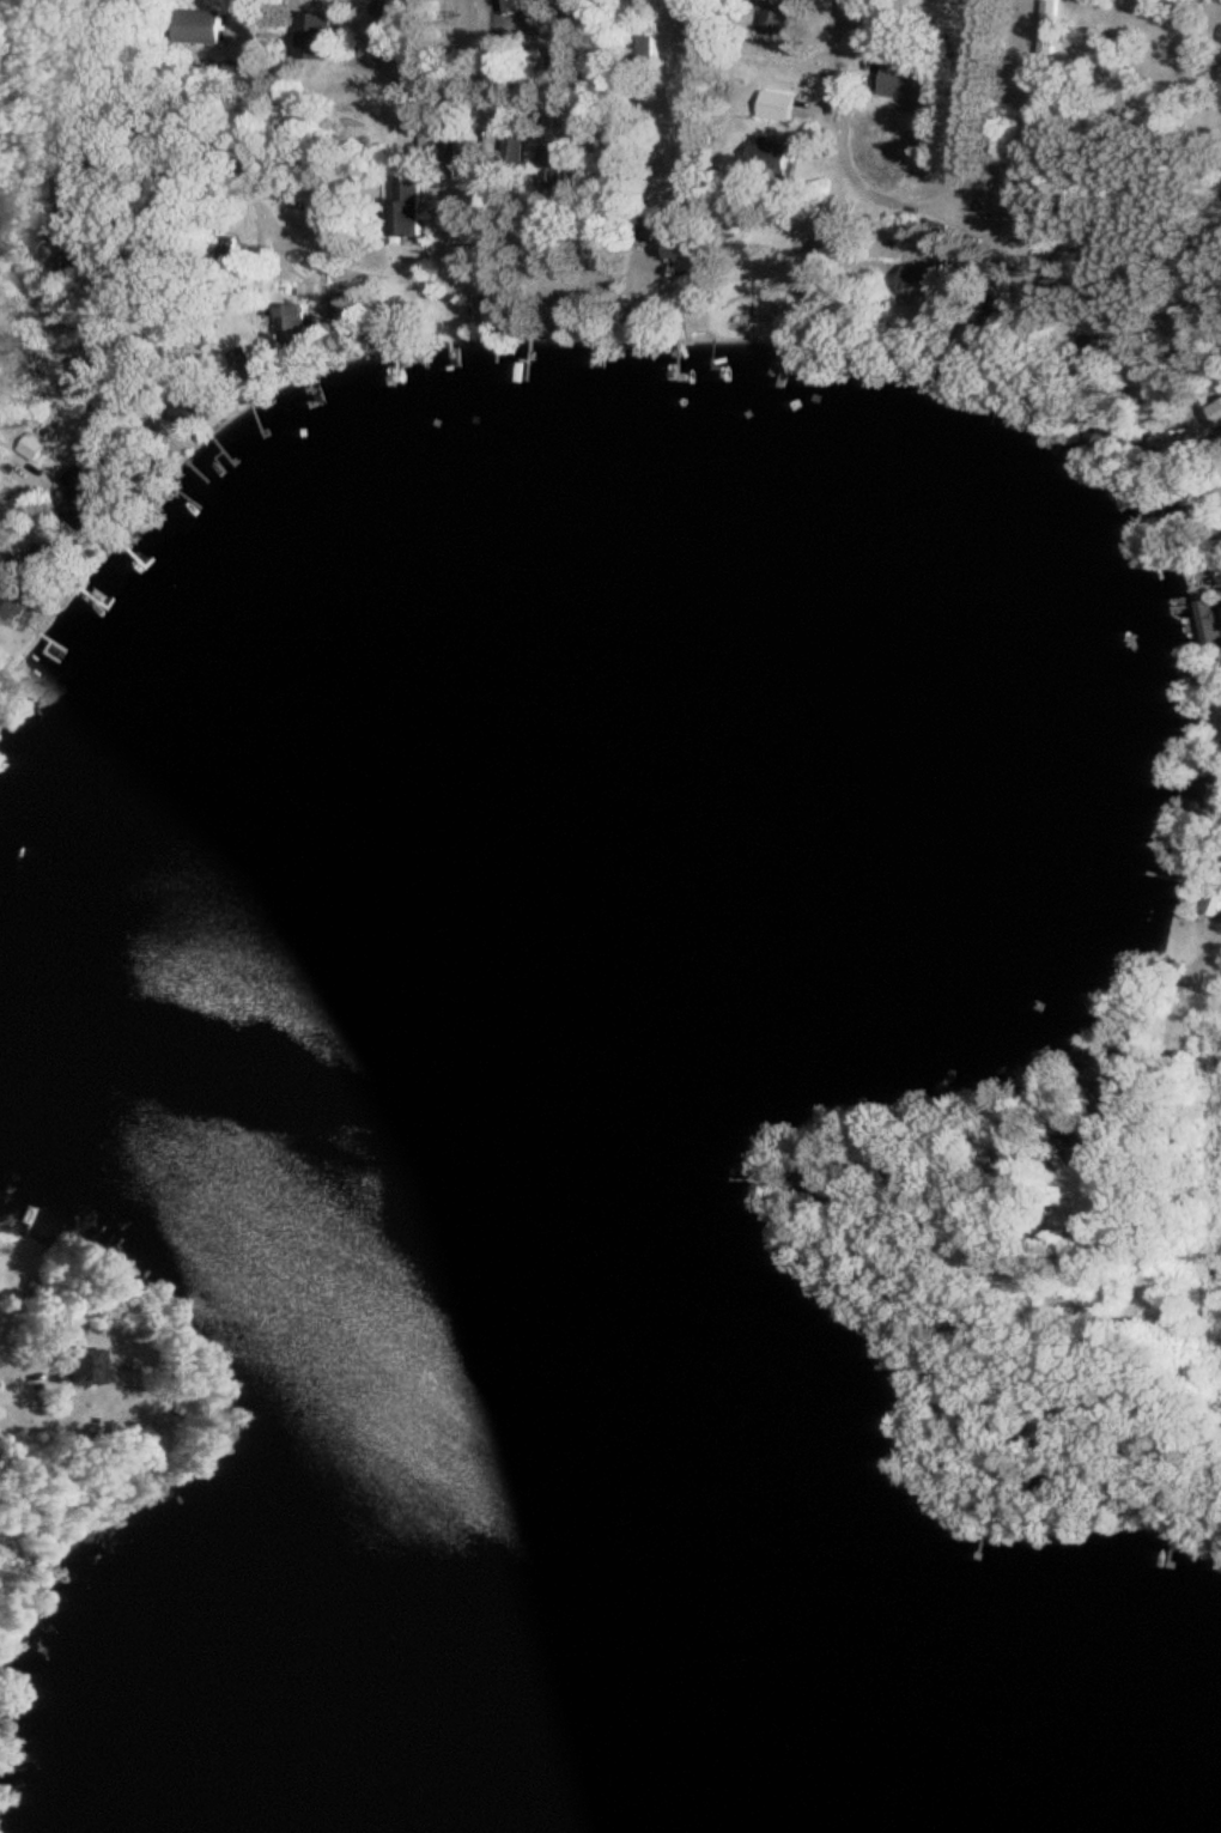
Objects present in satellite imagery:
building: (780, 14)
building: (206, 23)
building: (1052, 25)
building: (570, 48)
building: (907, 80)
building: (517, 150)
building: (472, 153)
building: (560, 153)
building: (79, 180)
building: (414, 204)
building: (1219, 407)
building: (133, 465)
building: (1209, 615)
building: (0, 651)
building: (1216, 898)
road: (1159, 1133)
building: (84, 1365)

